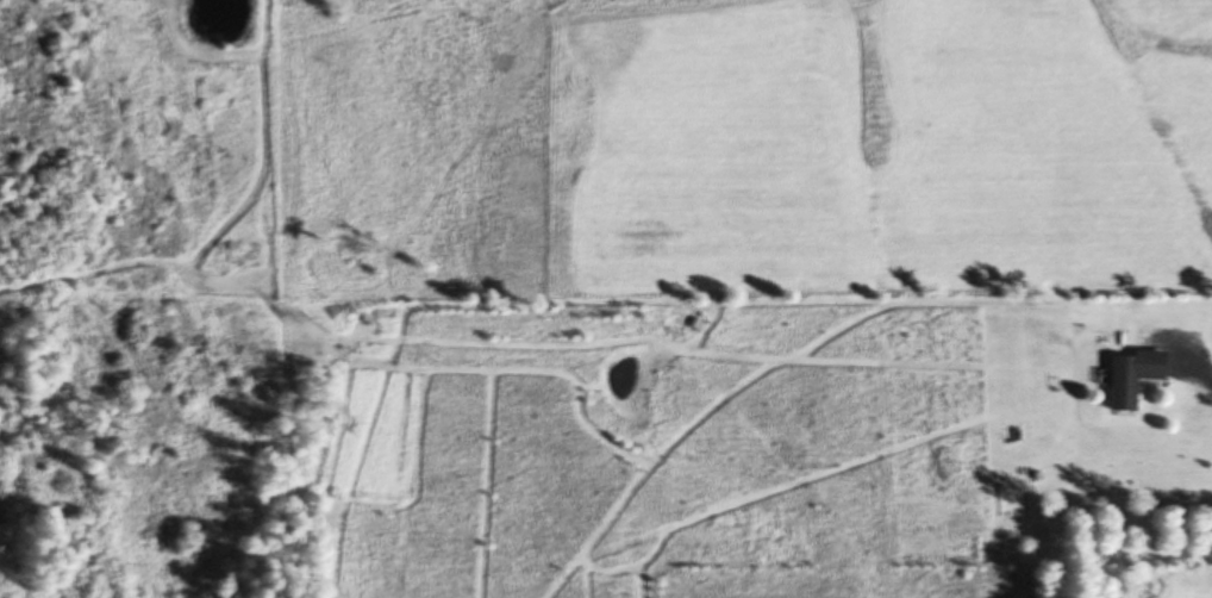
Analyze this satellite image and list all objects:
building: (1125, 374)

